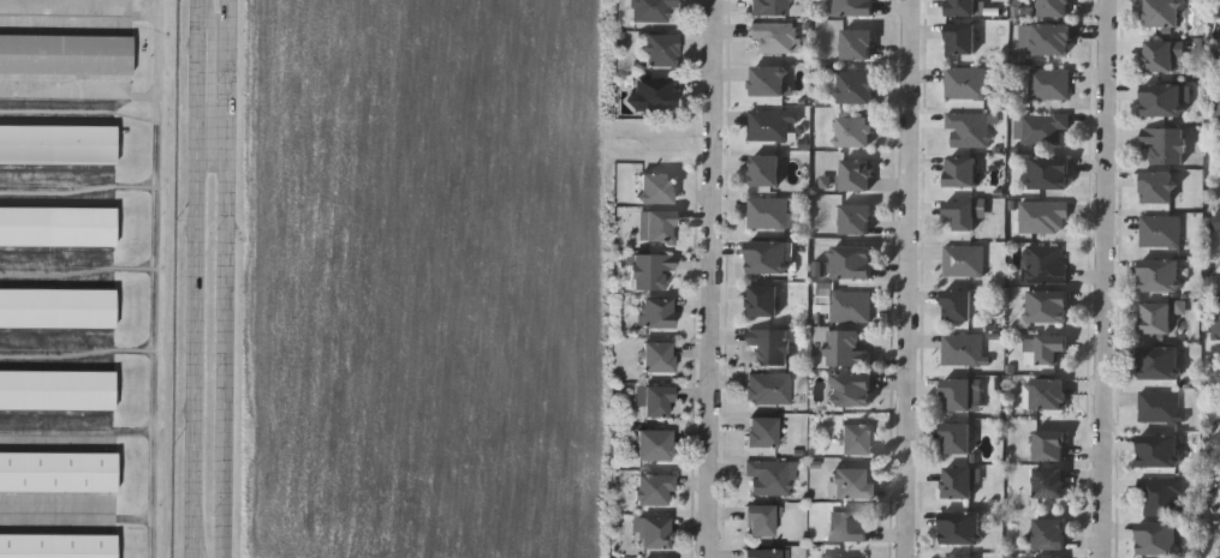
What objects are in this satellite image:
building: (1216, 2)
building: (766, 7)
building: (849, 7)
building: (959, 7)
building: (1052, 7)
building: (649, 10)
building: (1160, 13)
building: (770, 36)
building: (1049, 38)
building: (958, 40)
building: (855, 43)
building: (657, 48)
building: (65, 52)
building: (1157, 55)
building: (764, 80)
building: (963, 83)
building: (1047, 83)
road: (213, 84)
building: (852, 86)
building: (649, 92)
building: (1161, 98)
building: (1214, 108)
building: (768, 122)
building: (1040, 127)
building: (965, 130)
building: (850, 131)
building: (56, 142)
building: (1164, 143)
building: (762, 169)
building: (958, 172)
building: (1046, 172)
building: (853, 174)
building: (1155, 186)
building: (654, 187)
building: (767, 214)
building: (958, 214)
building: (1041, 216)
building: (853, 218)
building: (1215, 222)
building: (56, 223)
building: (654, 226)
building: (1159, 230)
building: (764, 257)
building: (849, 260)
building: (960, 260)
building: (1042, 263)
building: (648, 269)
building: (1159, 275)
airport: (88, 276)
road: (196, 278)
road: (224, 278)
road: (710, 278)
road: (911, 278)
road: (1107, 278)
building: (761, 300)
building: (56, 305)
building: (849, 305)
building: (954, 305)
building: (1046, 305)
building: (655, 312)
building: (1214, 316)
building: (1155, 317)
building: (768, 344)
building: (1048, 347)
building: (844, 348)
building: (960, 349)
building: (655, 355)
building: (1157, 361)
building: (56, 386)
building: (766, 388)
building: (847, 389)
building: (1046, 392)
building: (954, 394)
building: (655, 400)
building: (1156, 406)
building: (760, 431)
building: (852, 438)
building: (953, 438)
building: (1216, 438)
building: (653, 444)
building: (1047, 444)
building: (1156, 450)
building: (56, 469)
building: (764, 476)
building: (849, 481)
building: (1048, 481)
building: (956, 482)
building: (650, 488)
building: (1159, 496)
building: (758, 520)
building: (851, 524)
building: (958, 527)
building: (1047, 534)
building: (1157, 538)
building: (56, 545)
building: (762, 553)
building: (844, 556)
building: (956, 557)
building: (1046, 557)

